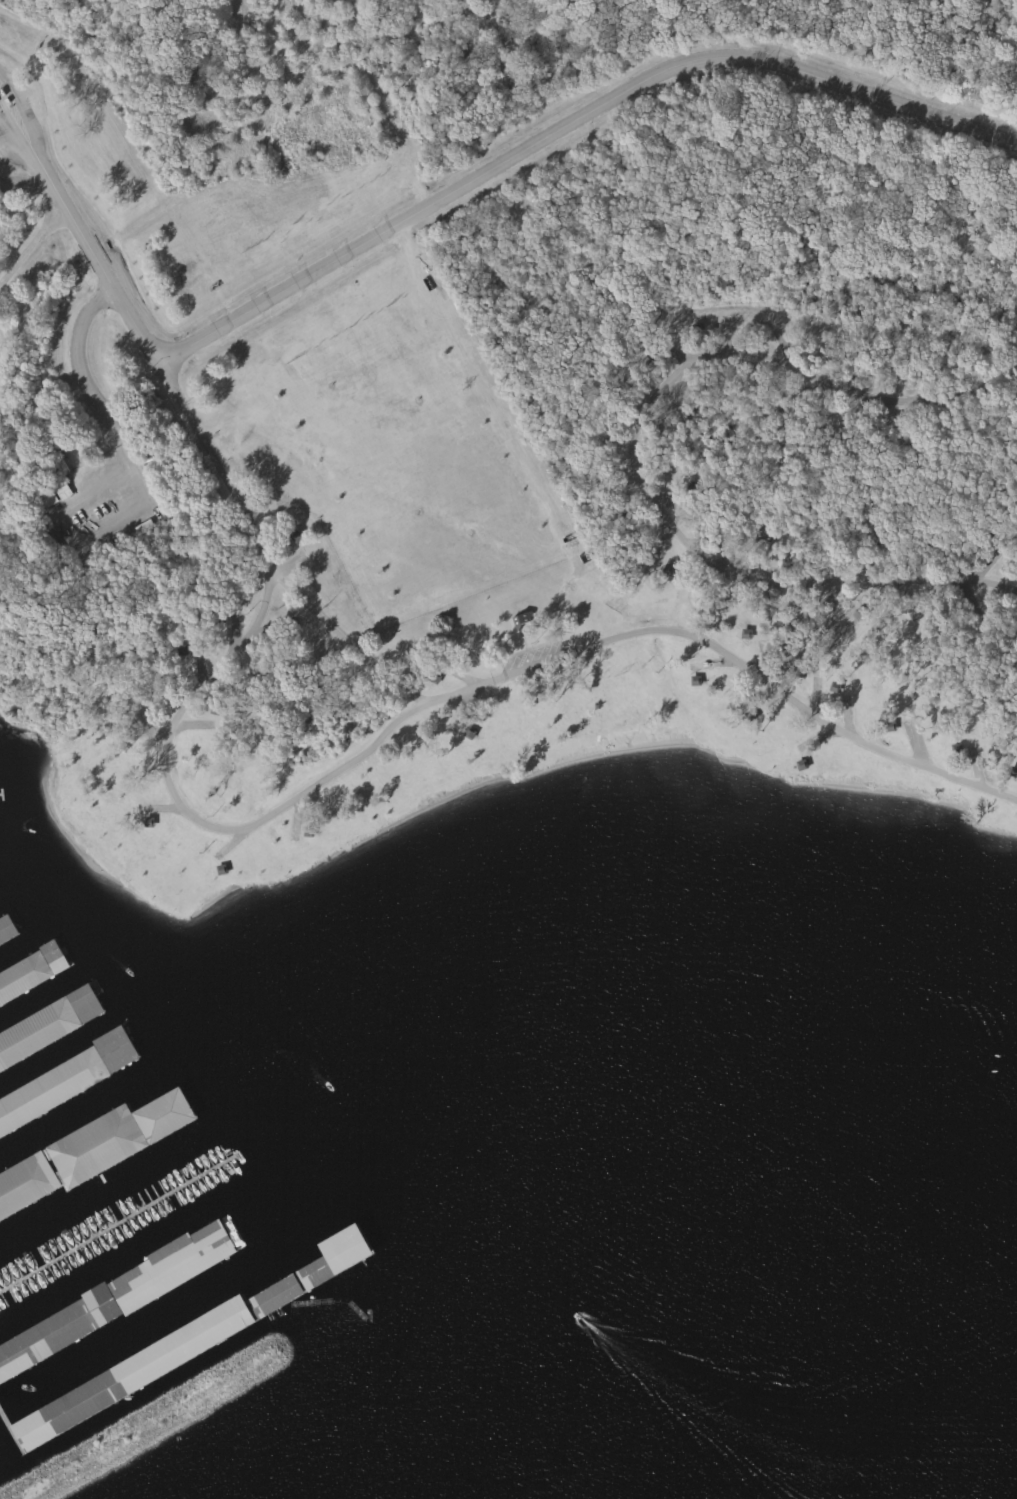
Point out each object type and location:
road: (575, 129)
road: (34, 242)
park: (499, 408)
road: (634, 450)
road: (140, 481)
building: (59, 497)
building: (772, 538)
building: (526, 621)
road: (349, 639)
road: (826, 650)
road: (230, 834)
building: (10, 936)
building: (27, 986)
building: (40, 1037)
building: (74, 1084)
building: (125, 1137)
building: (29, 1189)
building: (242, 1236)
building: (180, 1266)
building: (250, 1312)
building: (67, 1417)
road: (13, 1431)

